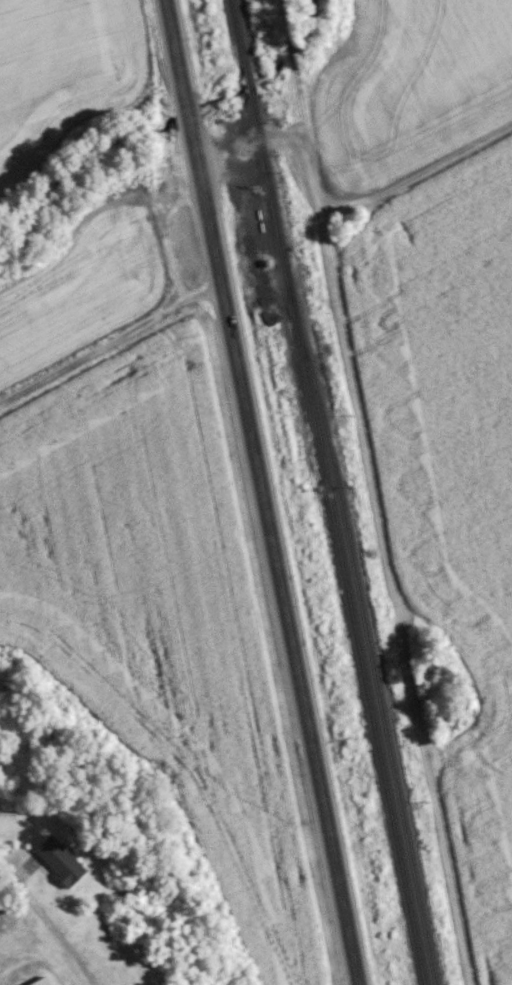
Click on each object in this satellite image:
railway: (259, 137)
road: (290, 139)
road: (108, 342)
road: (259, 492)
railway: (366, 629)
railway: (354, 630)
building: (54, 859)
road: (48, 932)
building: (36, 981)

